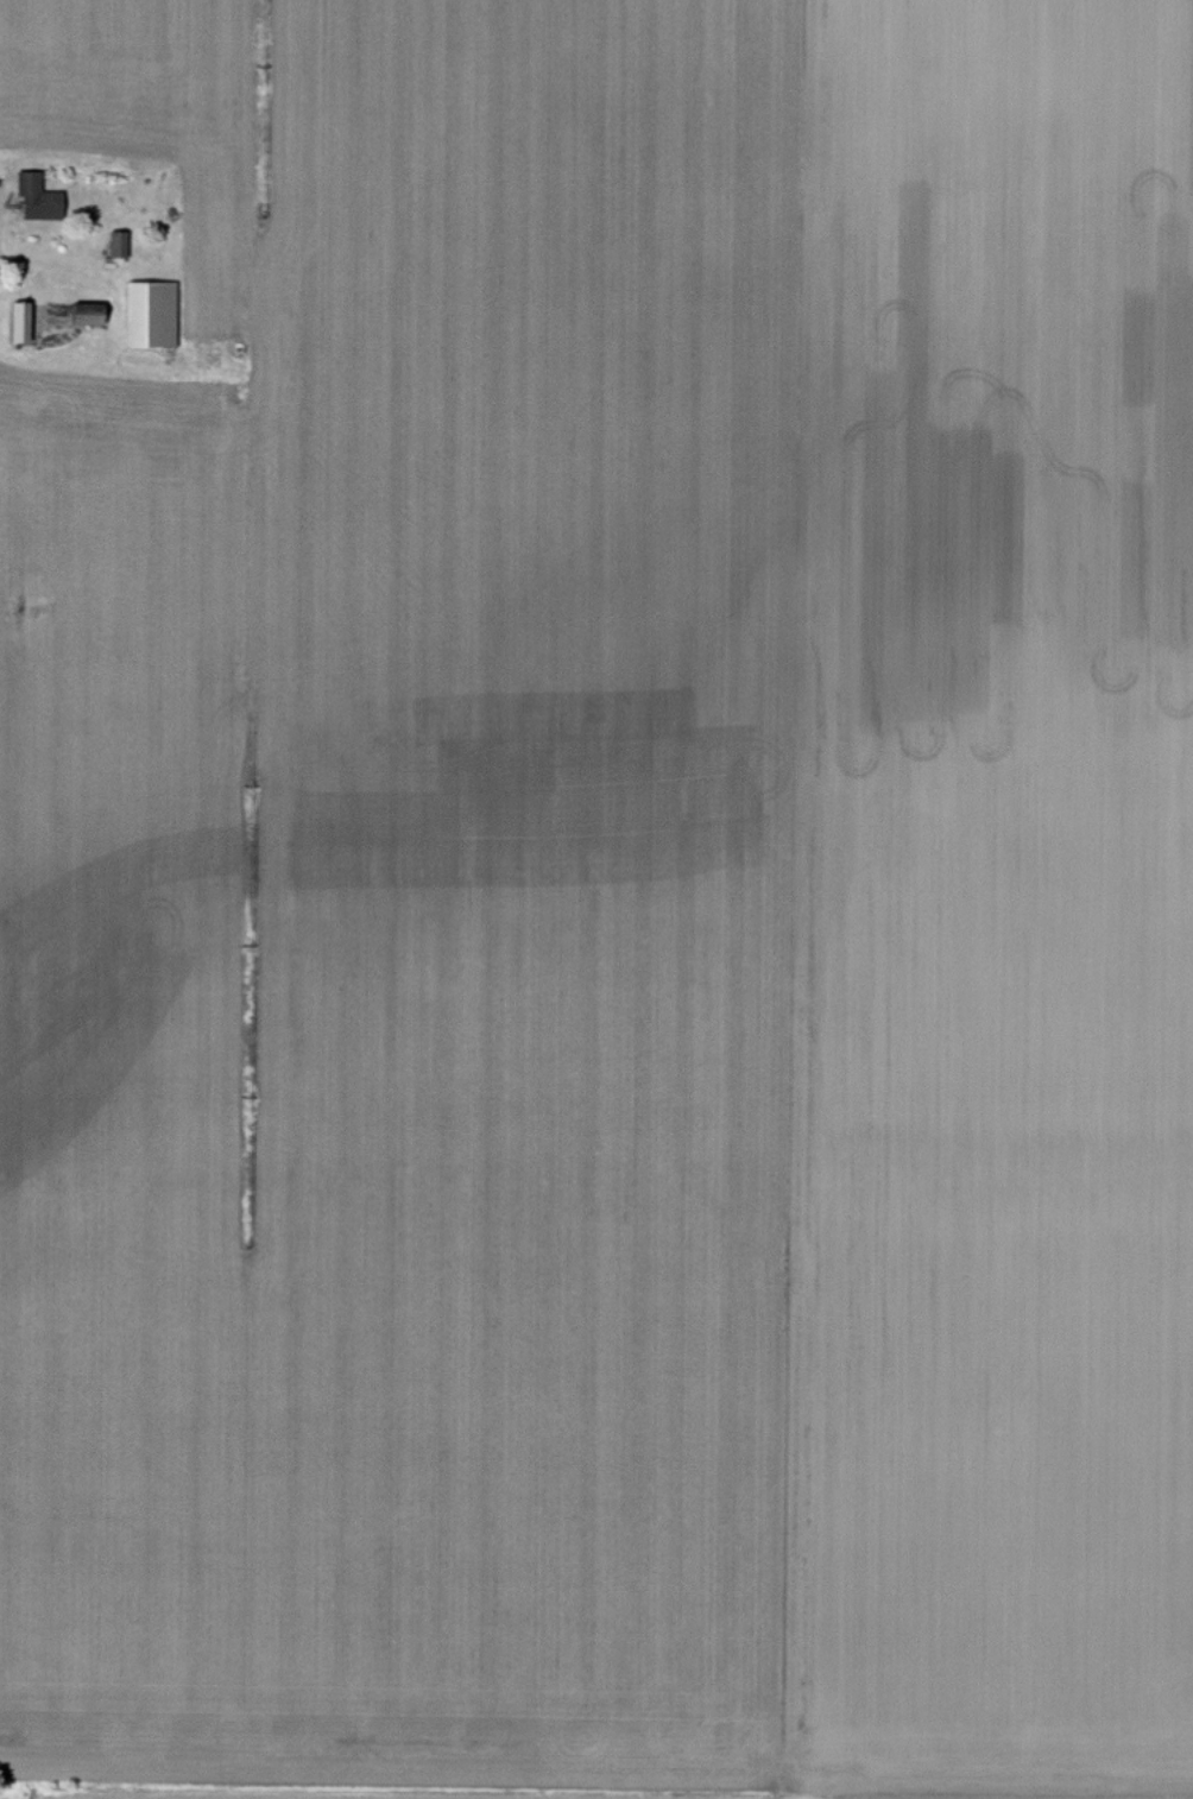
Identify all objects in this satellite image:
building: (34, 197)
building: (115, 244)
building: (149, 314)
building: (18, 322)

